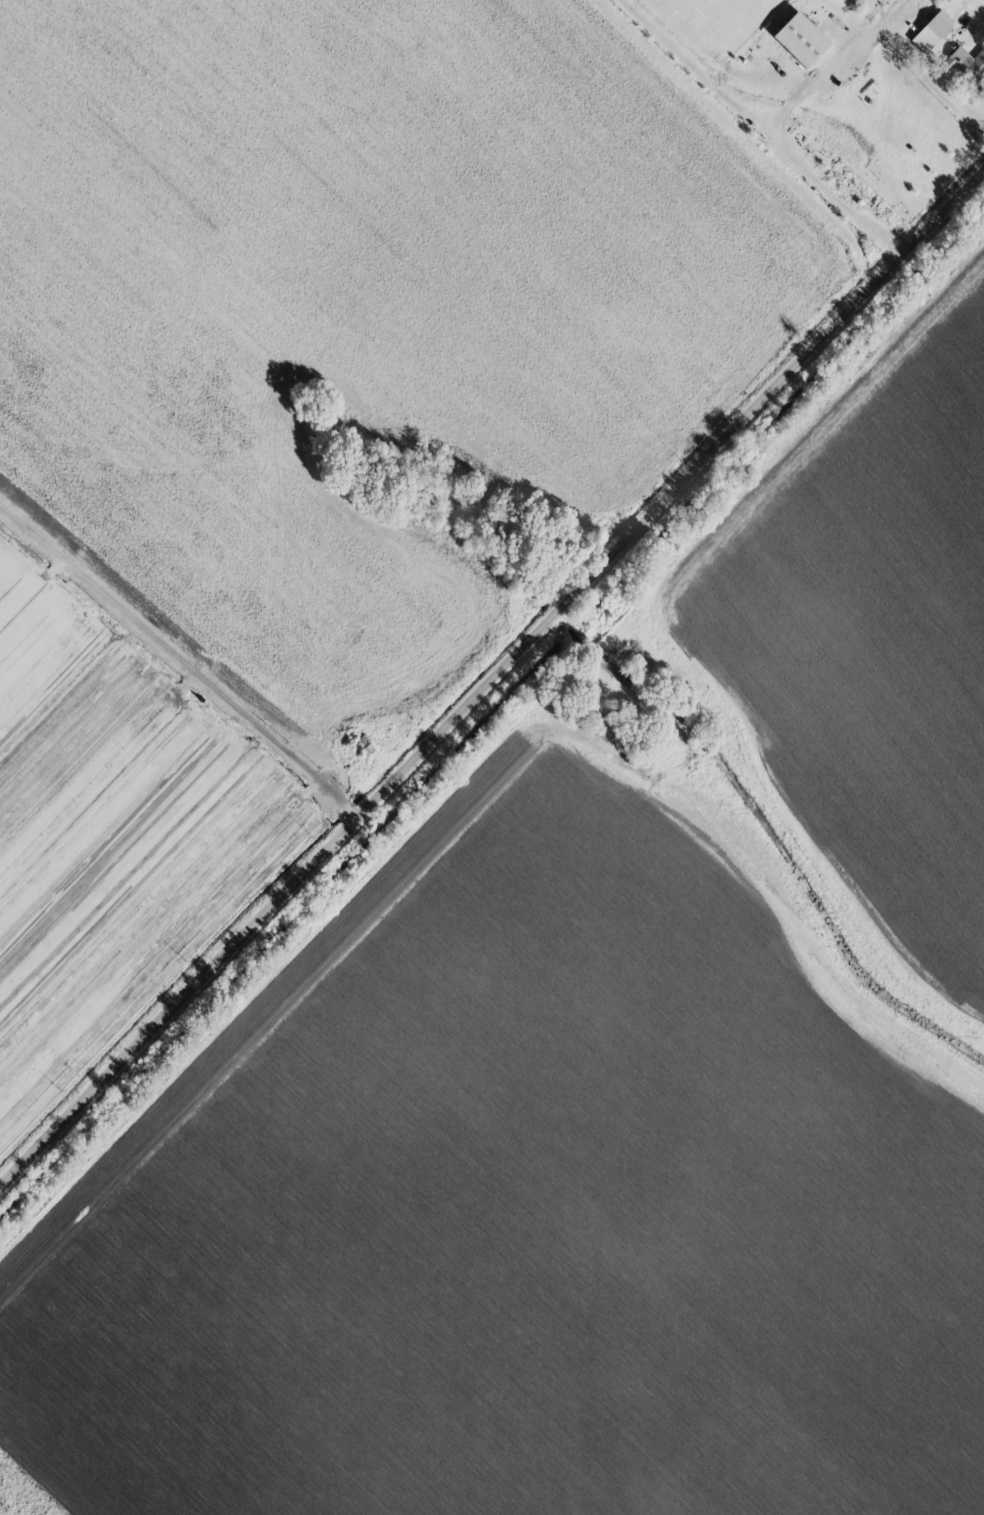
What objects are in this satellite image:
building: (799, 41)
building: (965, 65)
road: (934, 80)
road: (179, 661)
road: (492, 677)

